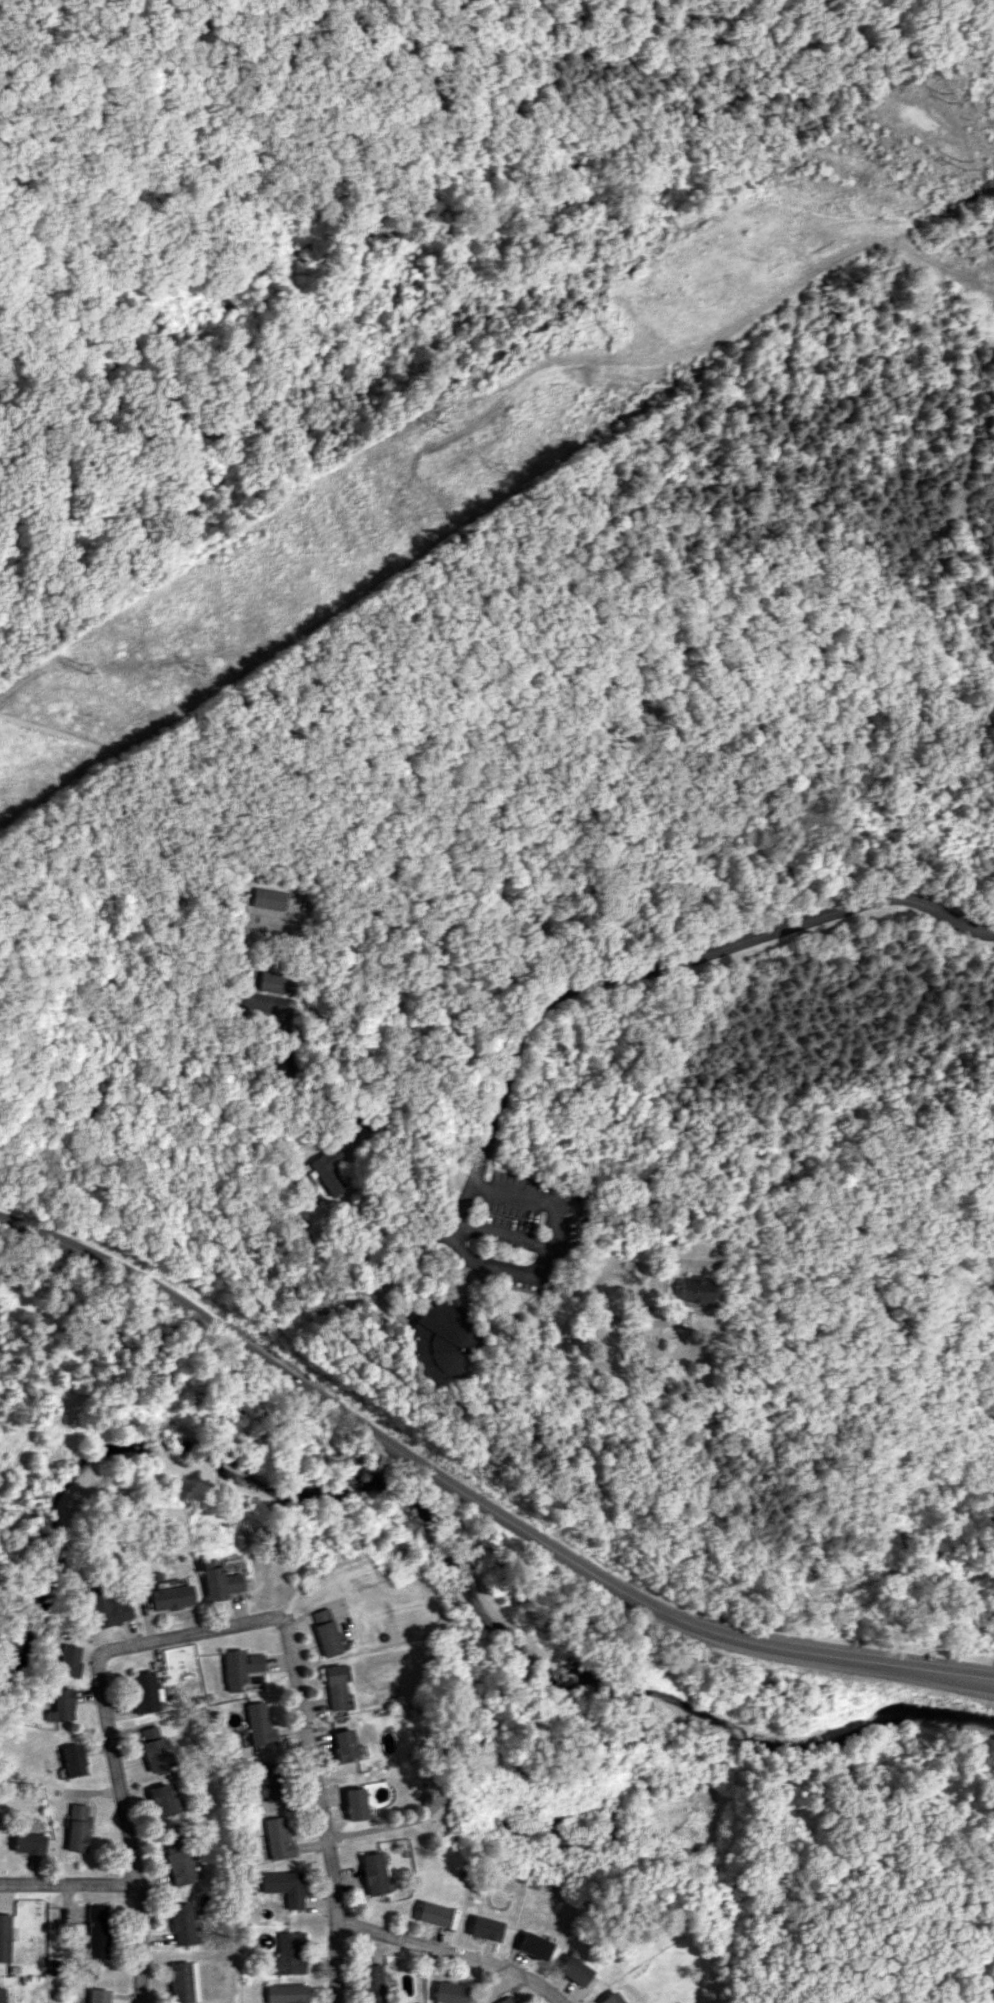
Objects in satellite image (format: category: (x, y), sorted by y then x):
power tower: (940, 97)
power tower: (952, 166)
power tower: (441, 427)
power tower: (489, 468)
power tower: (78, 667)
power tower: (195, 668)
road: (113, 840)
road: (391, 874)
building: (266, 898)
road: (652, 967)
building: (273, 982)
road: (242, 995)
building: (502, 1091)
road: (339, 1104)
building: (326, 1168)
parking lot: (527, 1215)
road: (554, 1231)
road: (397, 1269)
road: (494, 1272)
building: (694, 1290)
road: (602, 1311)
building: (438, 1340)
road: (897, 1378)
road: (527, 1413)
road: (476, 1505)
river: (438, 1536)
building: (216, 1581)
road: (841, 1588)
building: (169, 1597)
building: (105, 1607)
road: (225, 1627)
building: (324, 1631)
building: (67, 1660)
building: (237, 1668)
building: (143, 1692)
building: (61, 1706)
building: (257, 1724)
building: (345, 1745)
building: (153, 1749)
building: (74, 1760)
building: (264, 1782)
building: (162, 1800)
building: (353, 1803)
building: (77, 1827)
road: (382, 1828)
building: (276, 1838)
building: (28, 1843)
building: (177, 1859)
building: (372, 1873)
road: (69, 1885)
building: (283, 1886)
building: (430, 1913)
building: (181, 1923)
building: (483, 1928)
building: (98, 1931)
building: (5, 1937)
road: (139, 1944)
building: (532, 1945)
building: (285, 1955)
road: (450, 1955)
road: (335, 1962)
building: (572, 1970)
building: (183, 1982)
building: (372, 1983)
building: (448, 1992)
building: (283, 1993)
building: (2, 1995)
building: (98, 1995)

